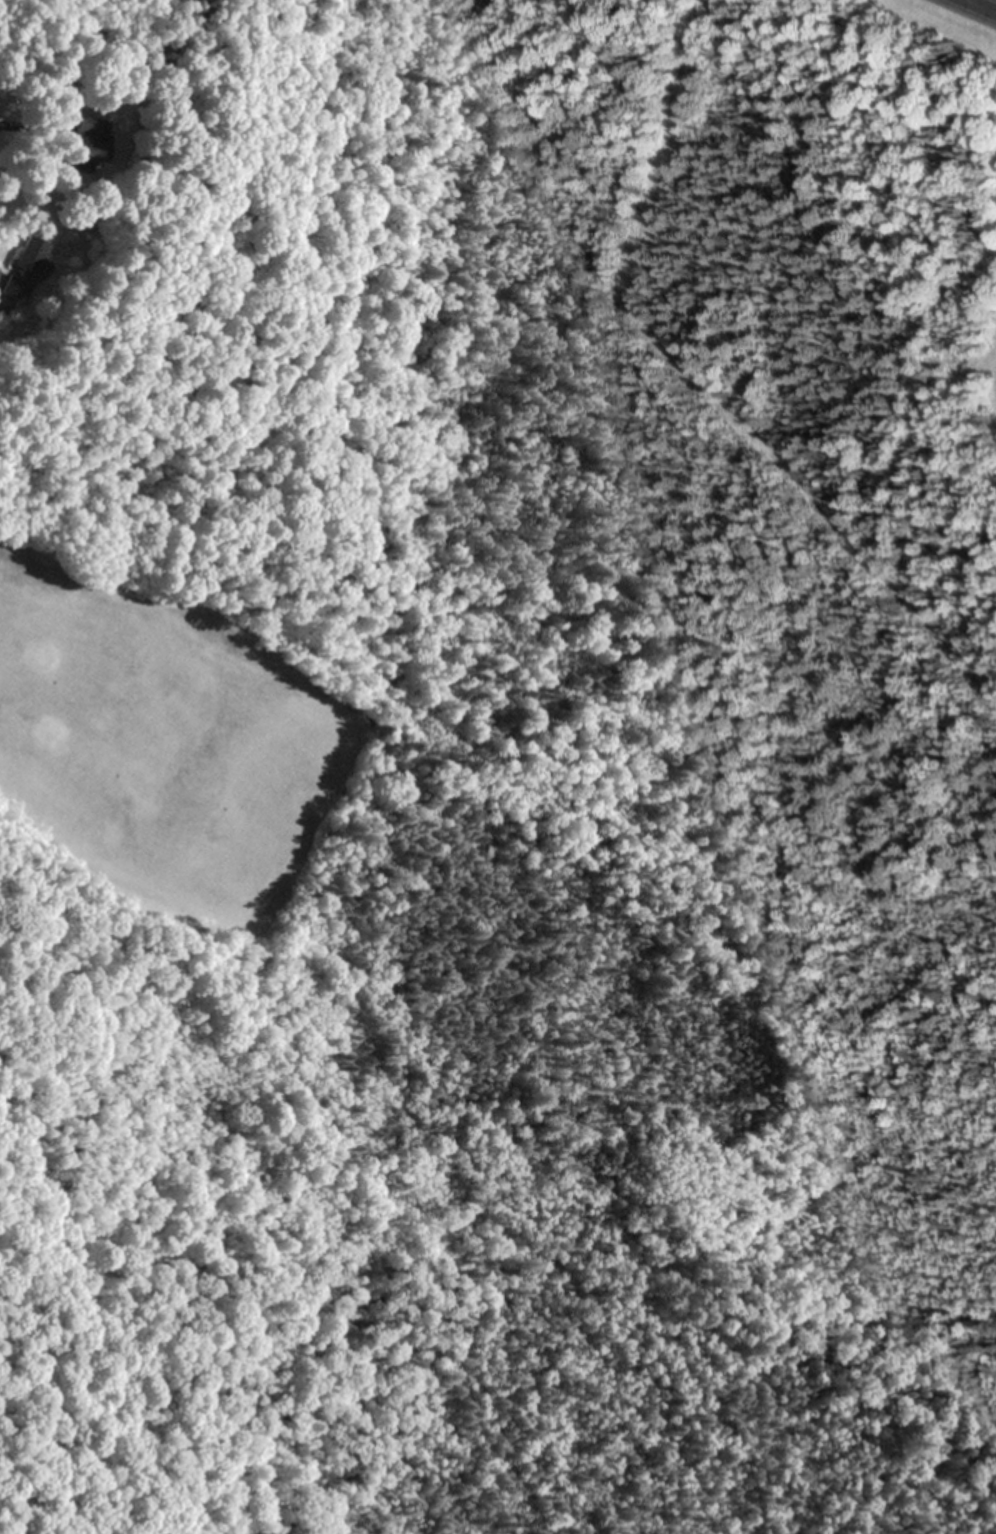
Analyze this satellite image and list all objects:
road: (981, 6)
building: (89, 140)
building: (25, 254)
park: (305, 793)

